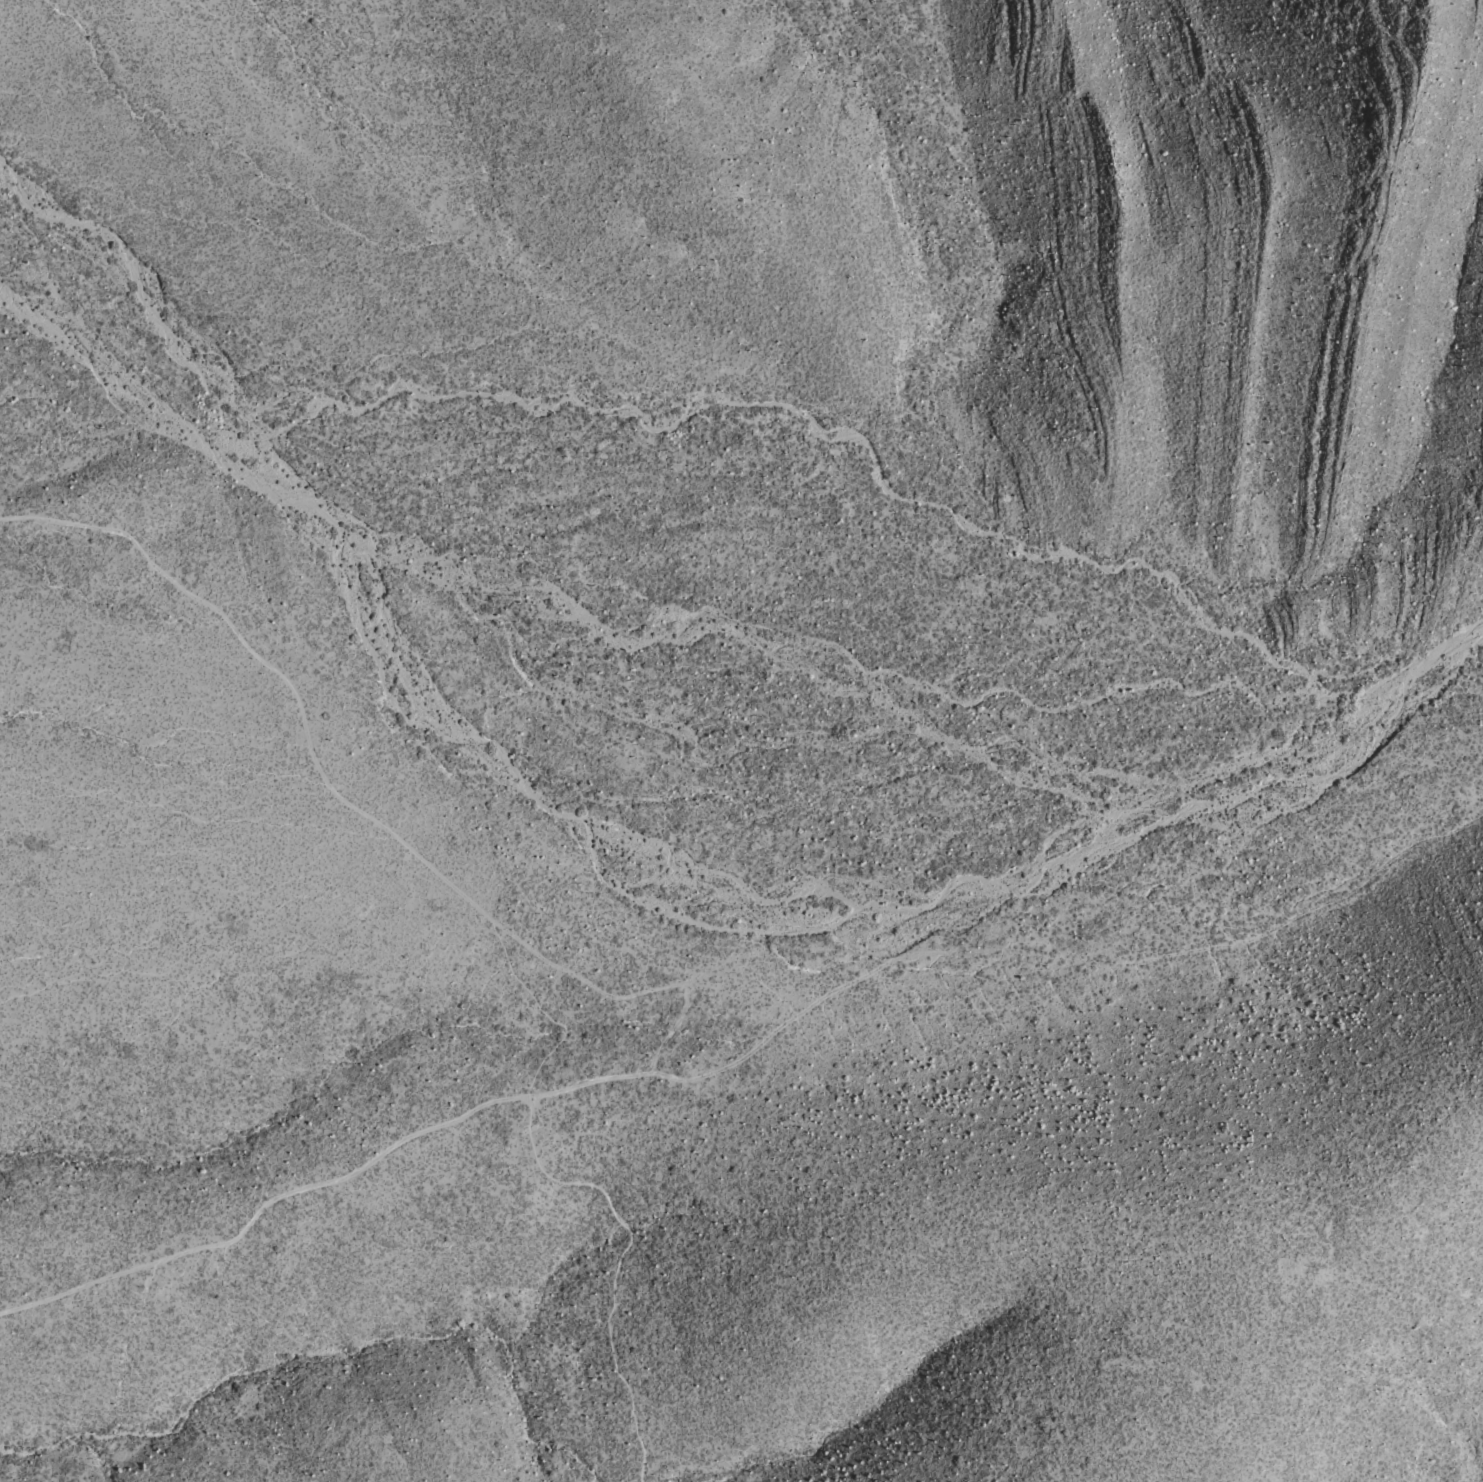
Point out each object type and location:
road: (489, 921)
road: (264, 1206)

